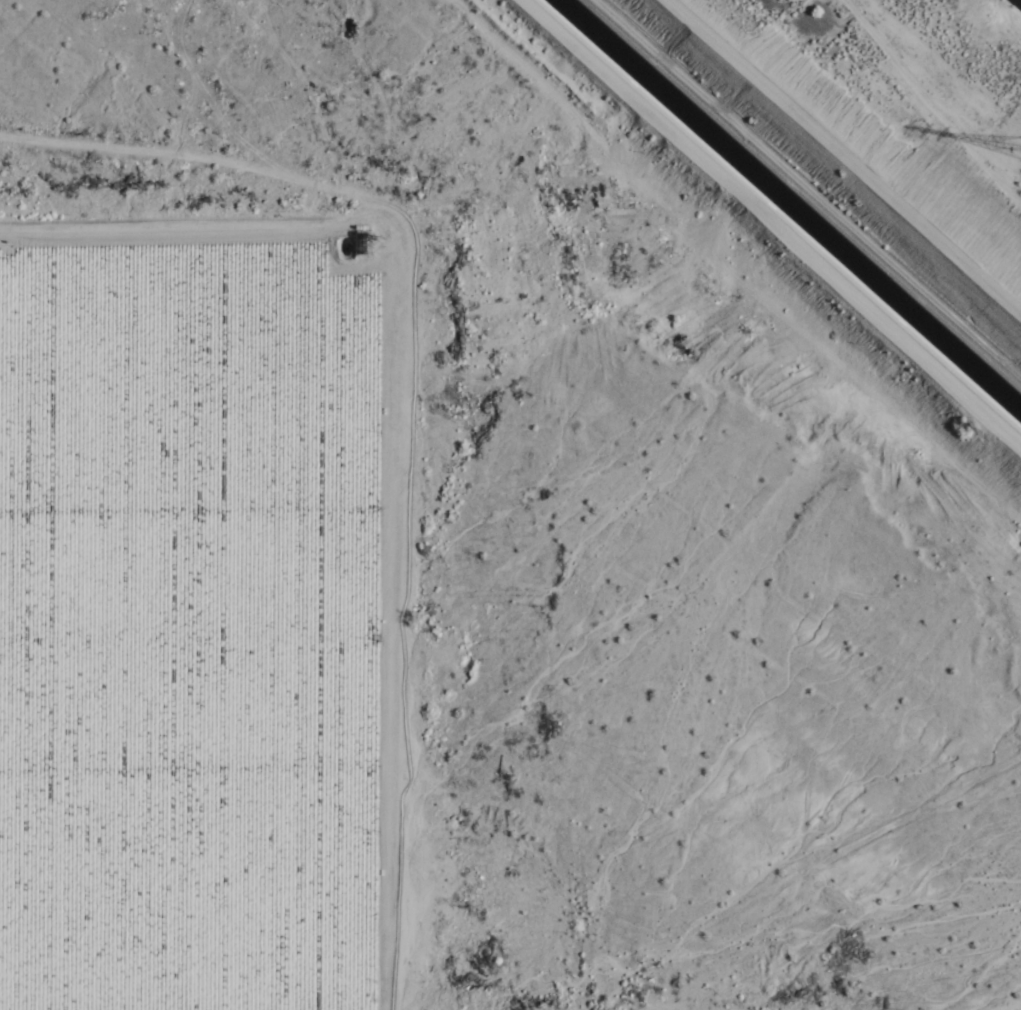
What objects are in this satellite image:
power tower: (1014, 140)

